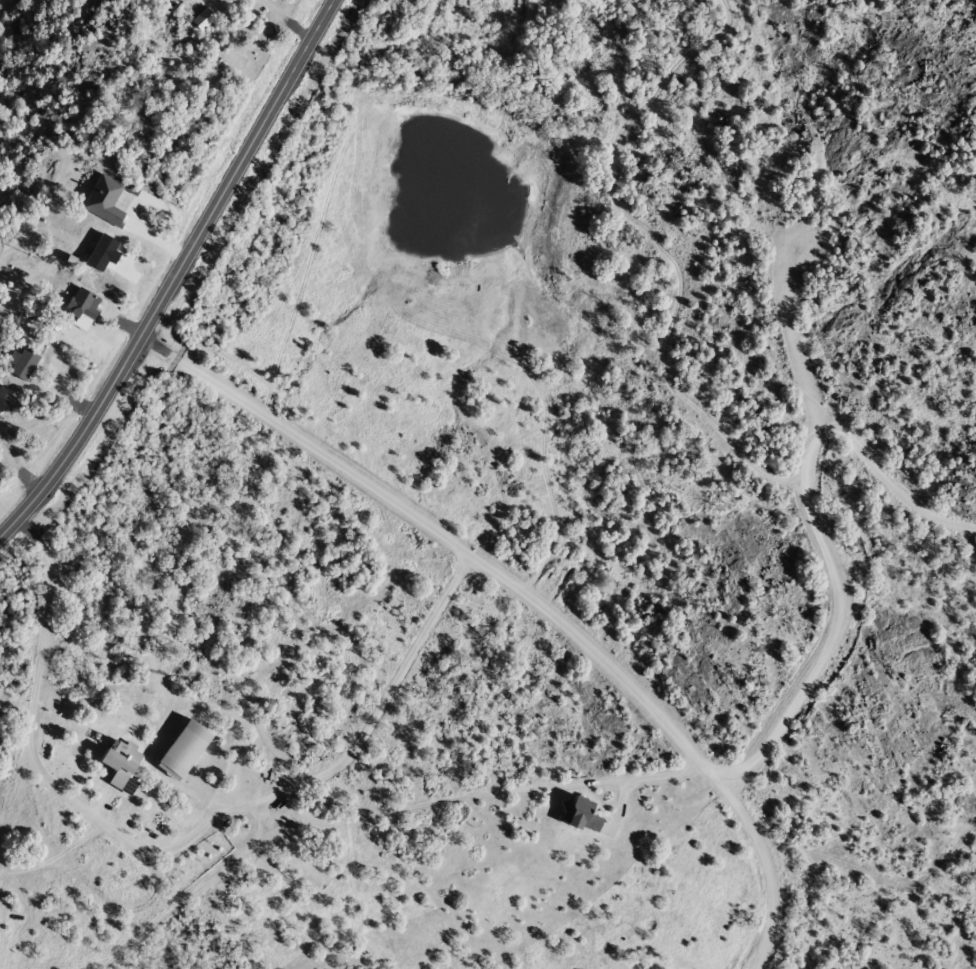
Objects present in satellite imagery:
road: (222, 0)
road: (283, 18)
building: (204, 20)
building: (106, 201)
road: (20, 228)
road: (171, 270)
building: (25, 366)
building: (0, 473)
road: (888, 475)
road: (820, 538)
road: (524, 594)
road: (32, 730)
building: (187, 748)
building: (122, 762)
building: (584, 814)
road: (293, 816)
road: (171, 841)
road: (957, 968)

